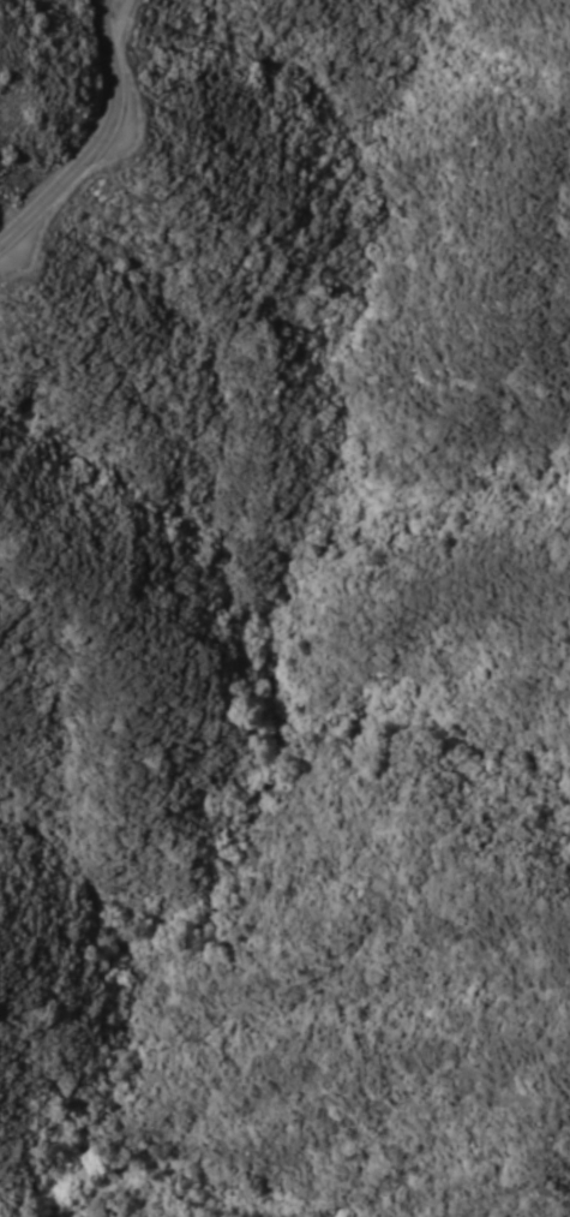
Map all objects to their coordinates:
road: (102, 142)

